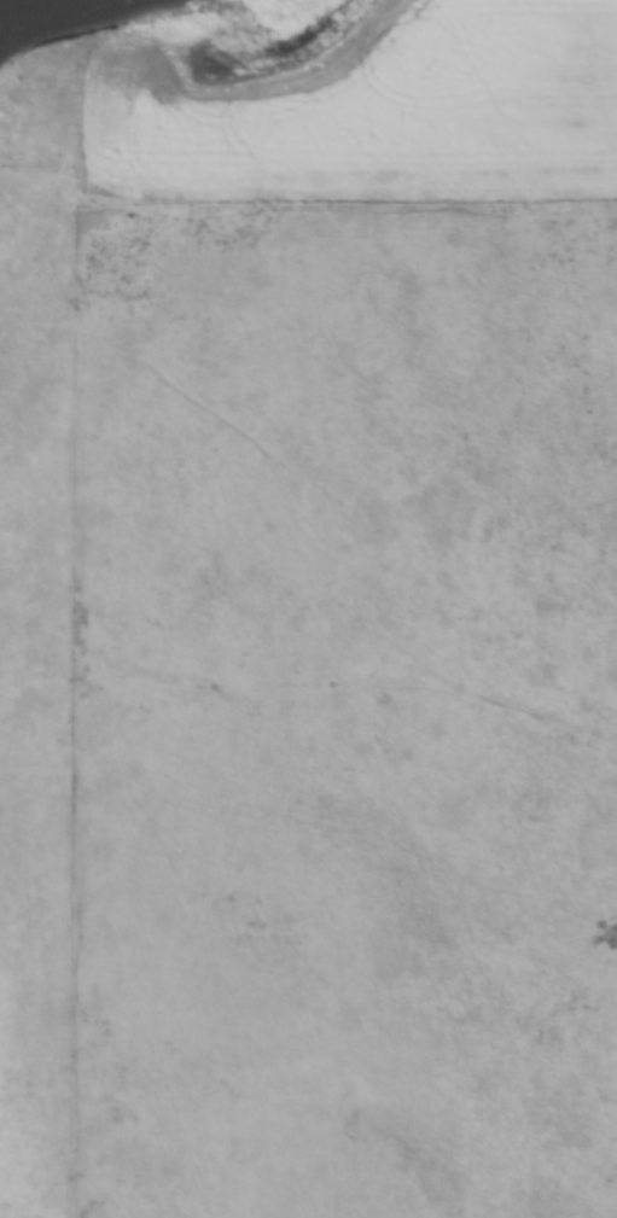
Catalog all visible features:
power tower: (616, 936)

